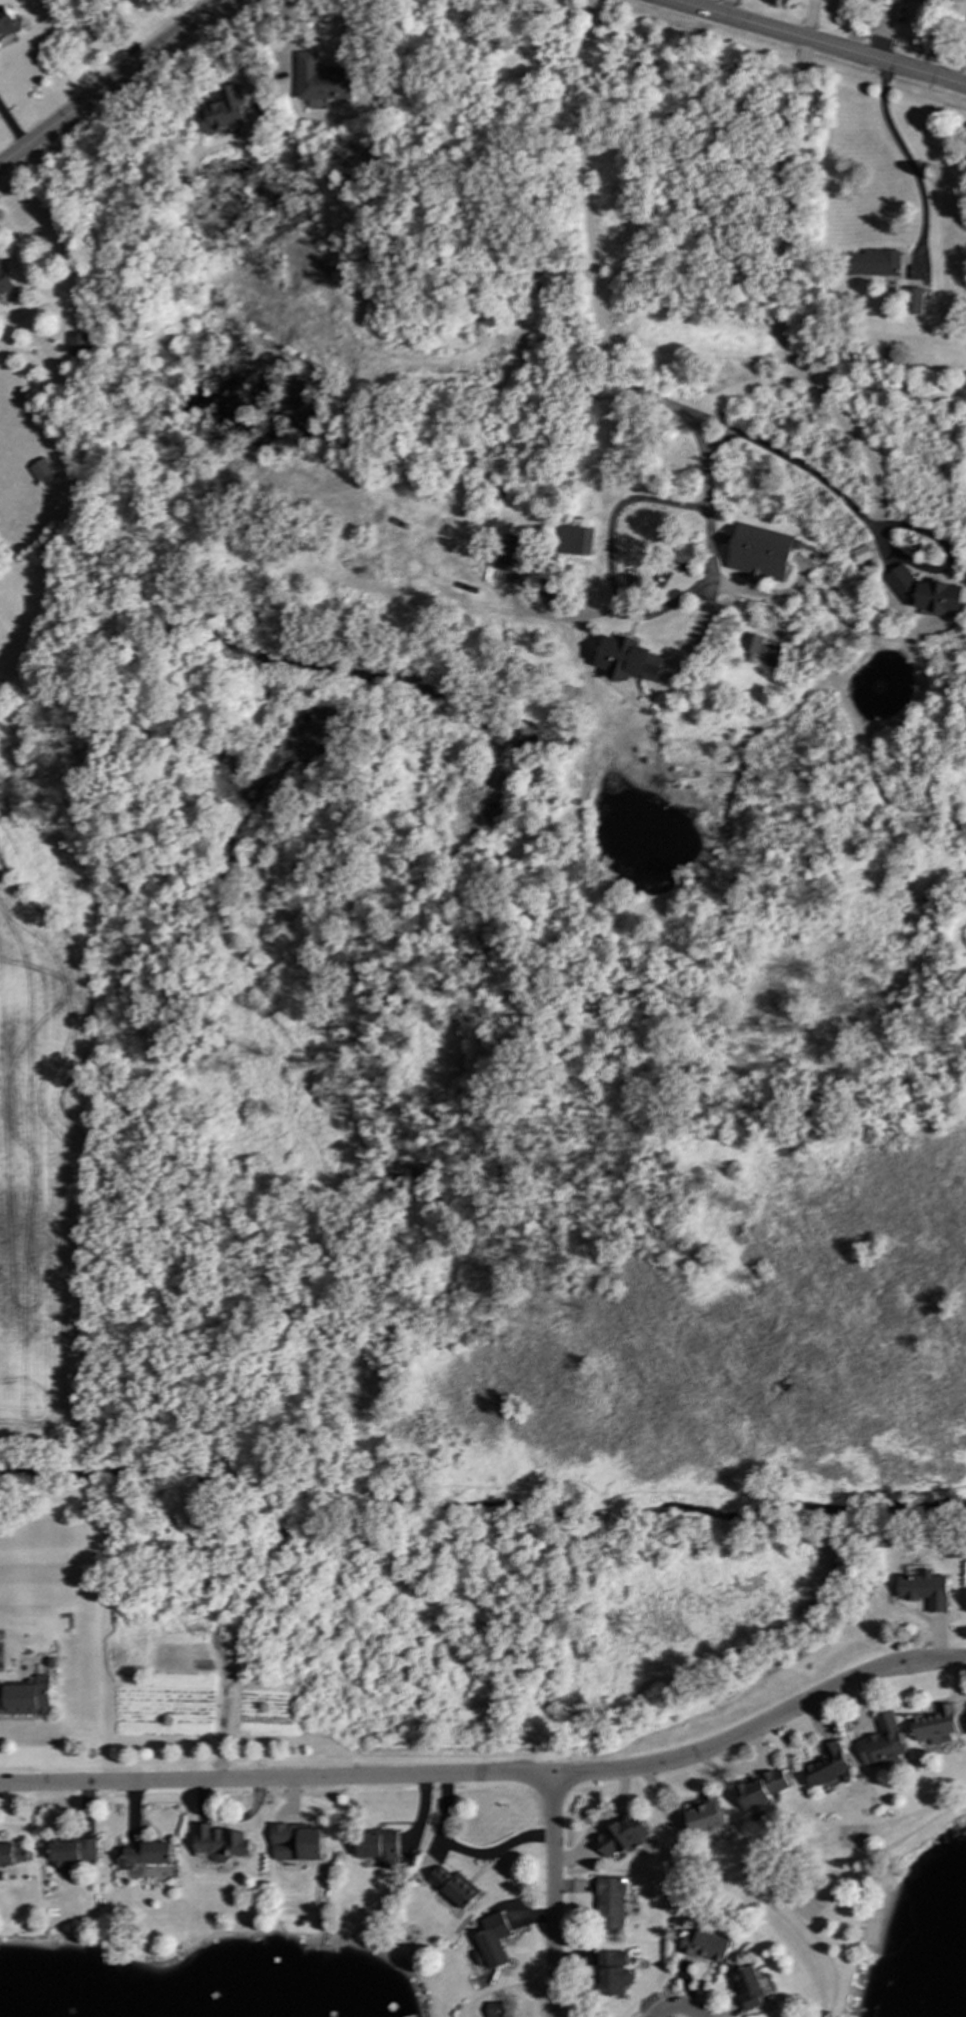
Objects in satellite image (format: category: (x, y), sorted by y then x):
building: (933, 0)
building: (7, 22)
road: (816, 43)
road: (307, 47)
building: (321, 79)
road: (112, 82)
building: (224, 111)
road: (13, 127)
road: (906, 161)
building: (874, 263)
building: (4, 280)
road: (778, 300)
building: (913, 300)
road: (600, 340)
building: (76, 343)
building: (40, 469)
road: (706, 516)
building: (574, 541)
building: (760, 553)
building: (511, 554)
building: (860, 554)
road: (609, 561)
building: (924, 591)
building: (760, 650)
building: (627, 659)
crop: (36, 1171)
building: (925, 1589)
building: (26, 1697)
building: (935, 1725)
building: (882, 1743)
building: (827, 1765)
road: (493, 1774)
building: (762, 1789)
building: (702, 1816)
building: (621, 1836)
building: (218, 1842)
building: (295, 1842)
building: (378, 1847)
building: (69, 1851)
road: (464, 1852)
building: (5, 1854)
building: (19, 1854)
building: (142, 1857)
road: (798, 1862)
building: (454, 1887)
road: (551, 1896)
park: (813, 1897)
building: (490, 1941)
building: (704, 1944)
building: (612, 1972)
building: (749, 1988)
road: (676, 2008)

